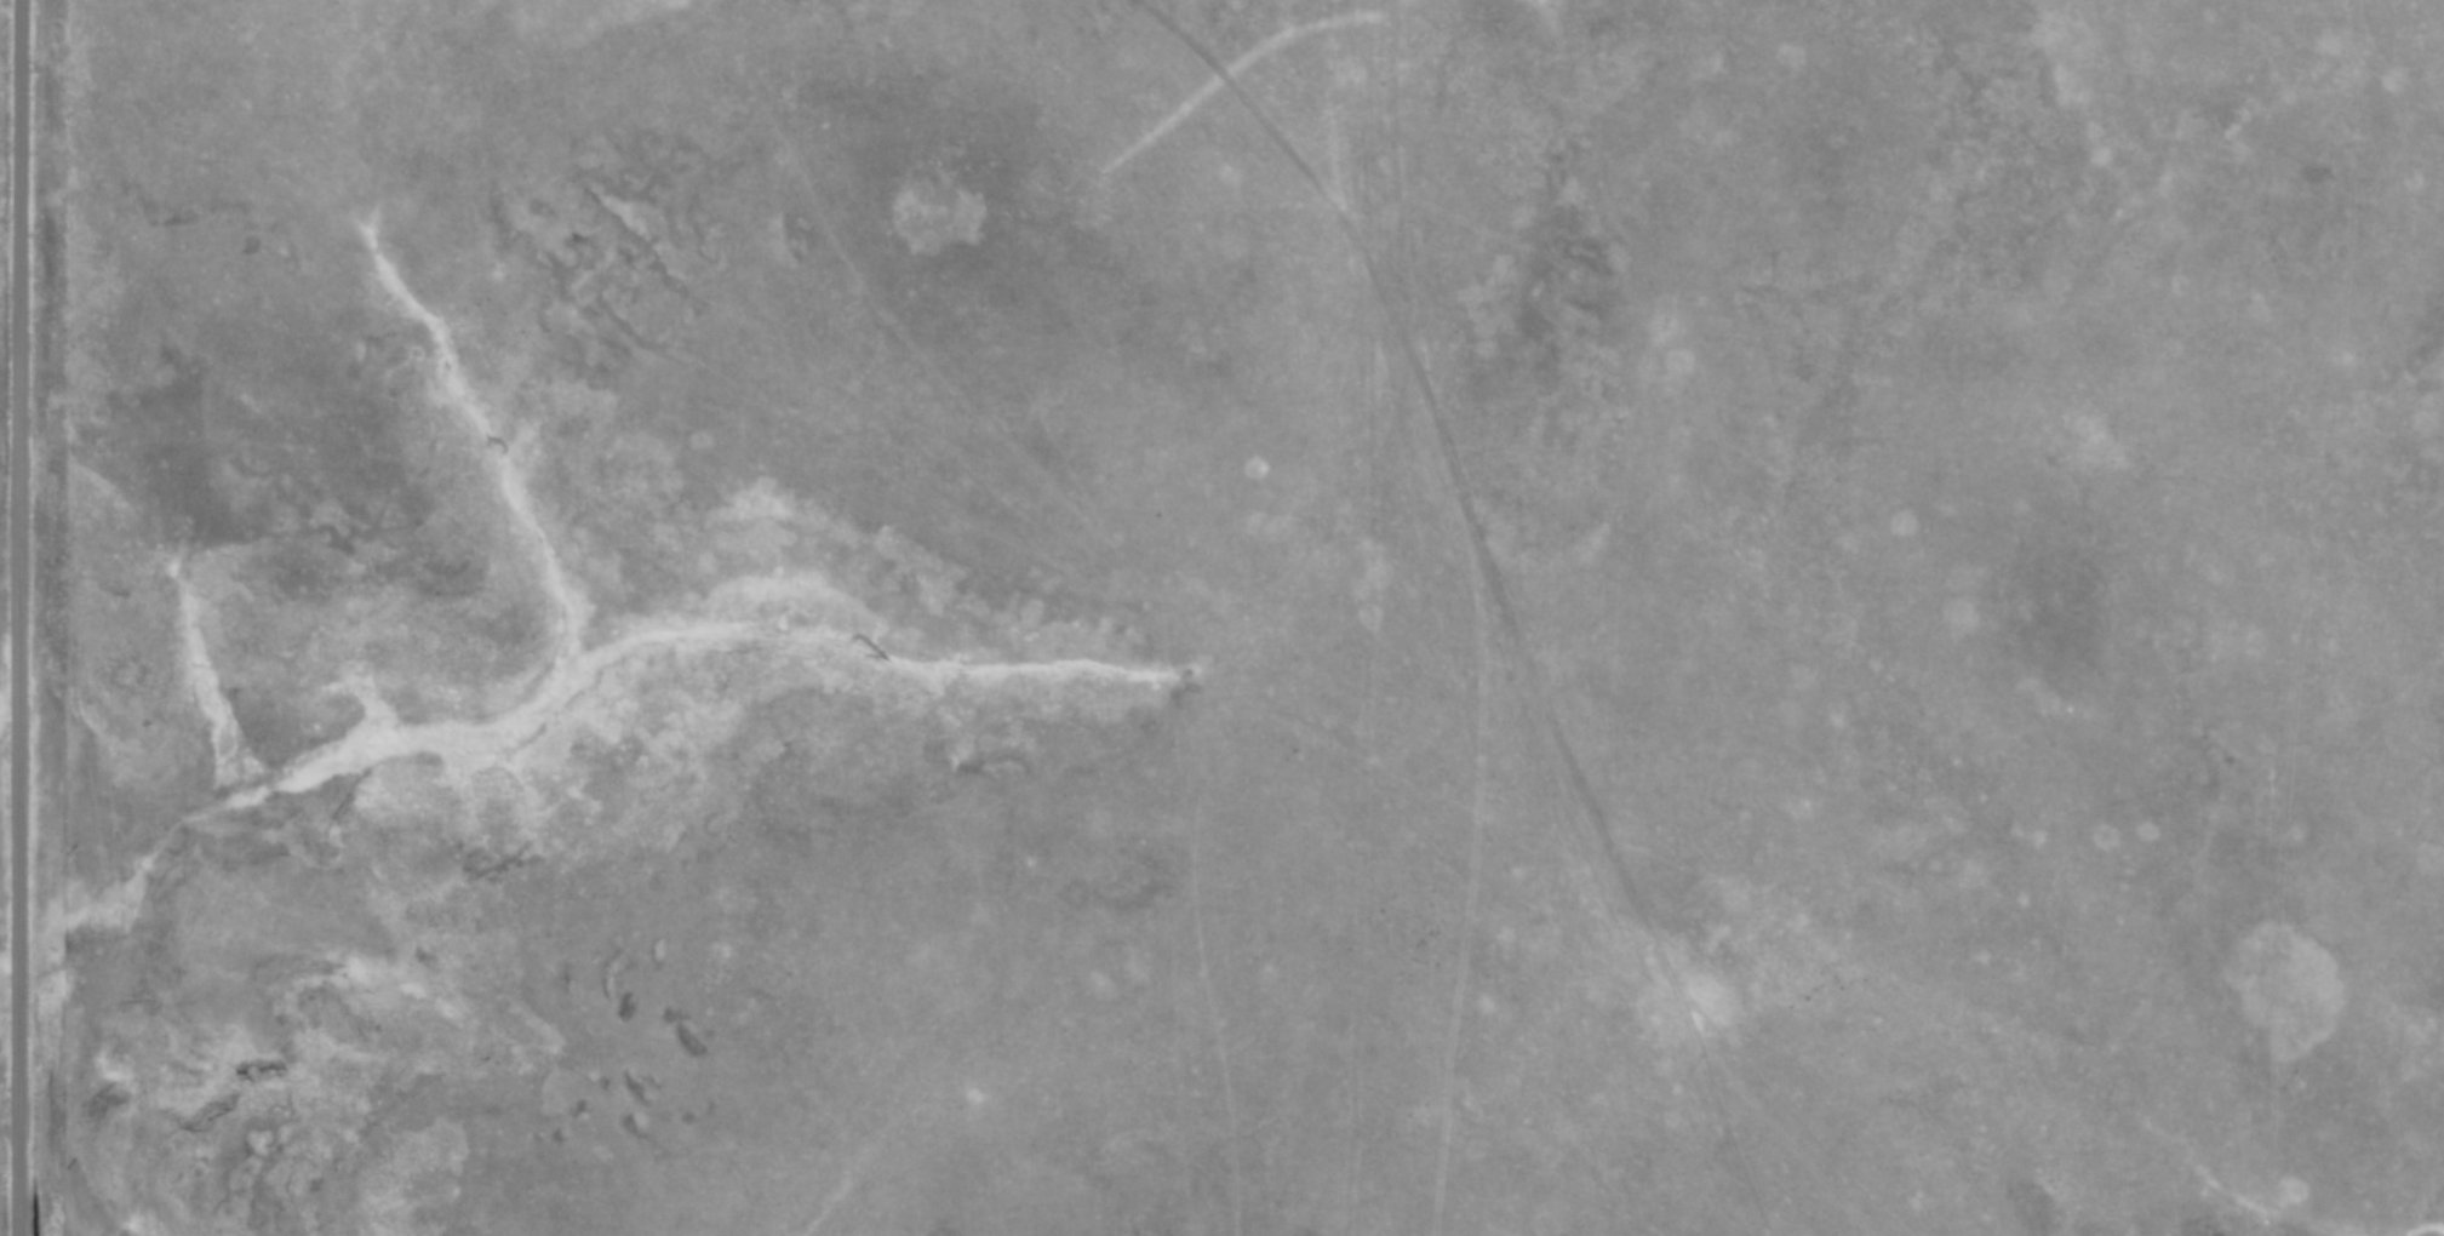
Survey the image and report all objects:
road: (27, 618)

